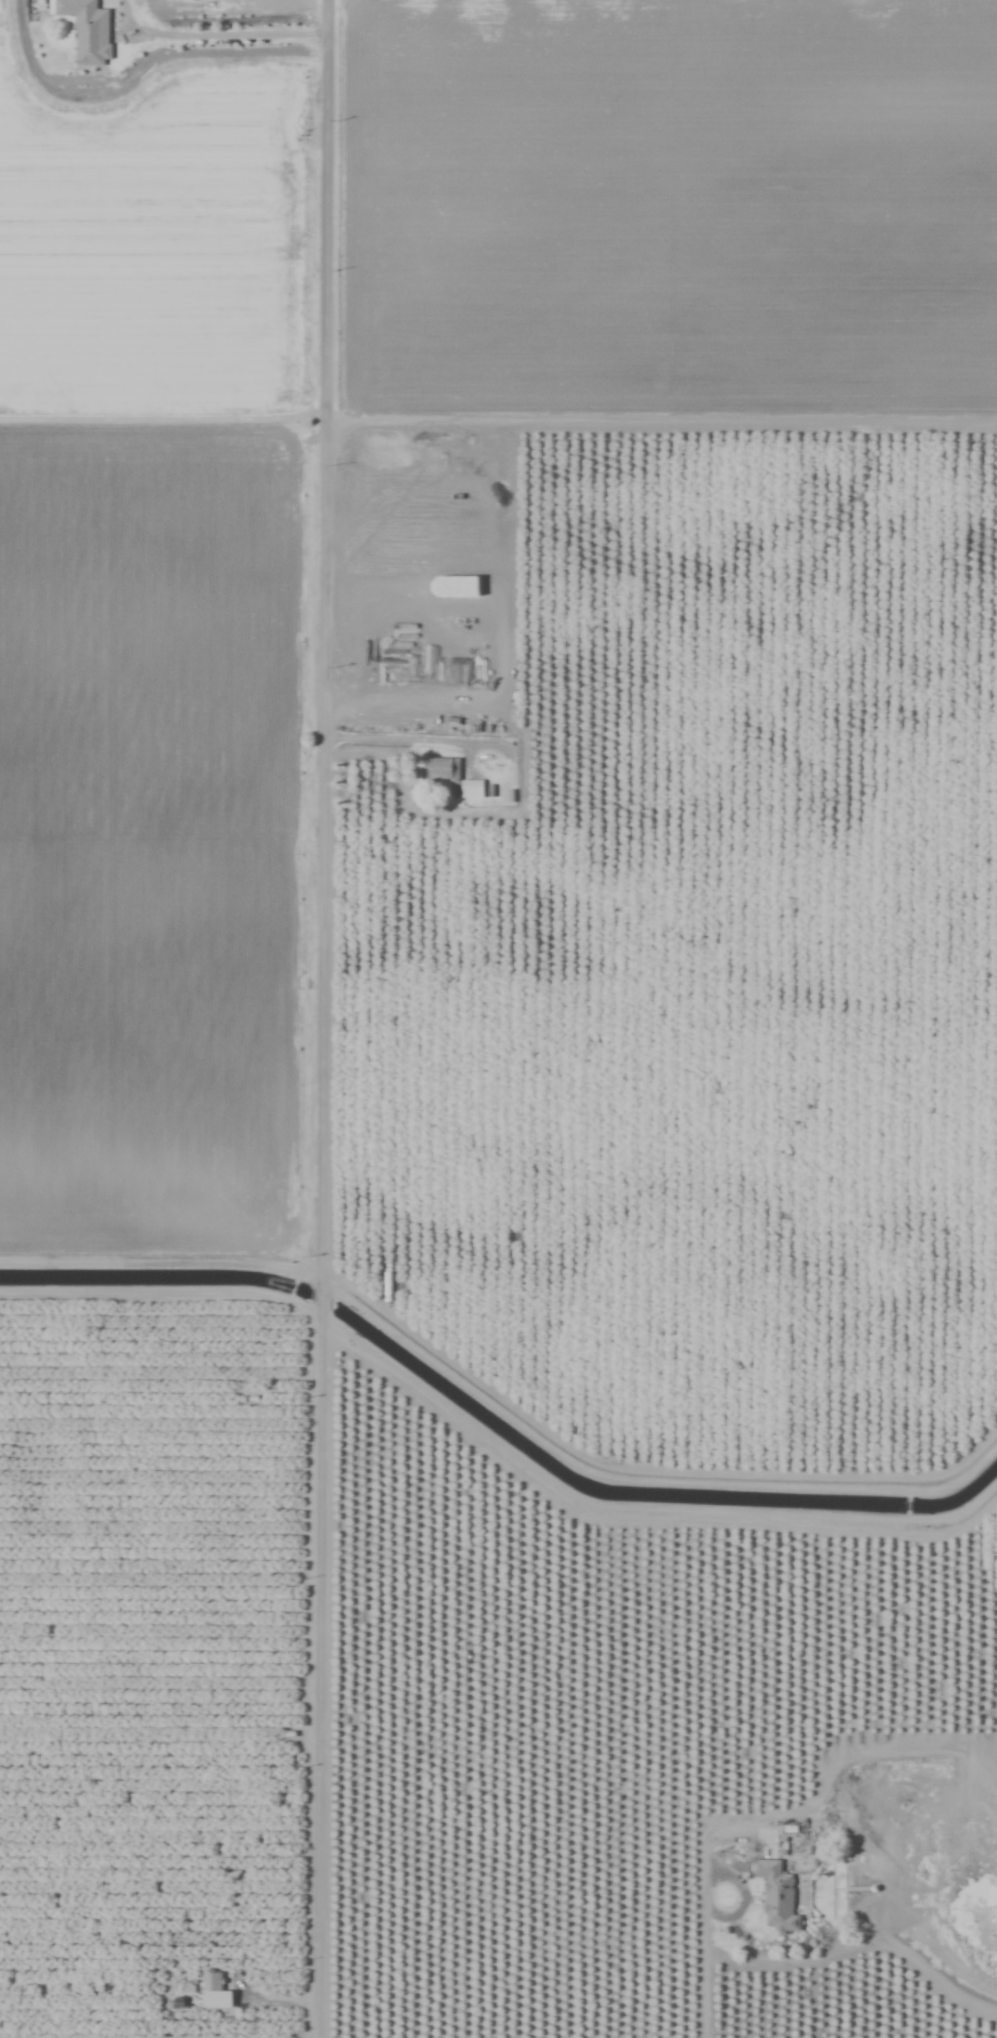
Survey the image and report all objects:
building: (87, 30)
road: (231, 33)
road: (325, 643)
building: (529, 721)
road: (418, 739)
building: (450, 780)
road: (163, 1289)
road: (322, 1298)
road: (321, 1674)
road: (738, 1875)
building: (778, 1897)
road: (706, 1970)
building: (213, 1982)

